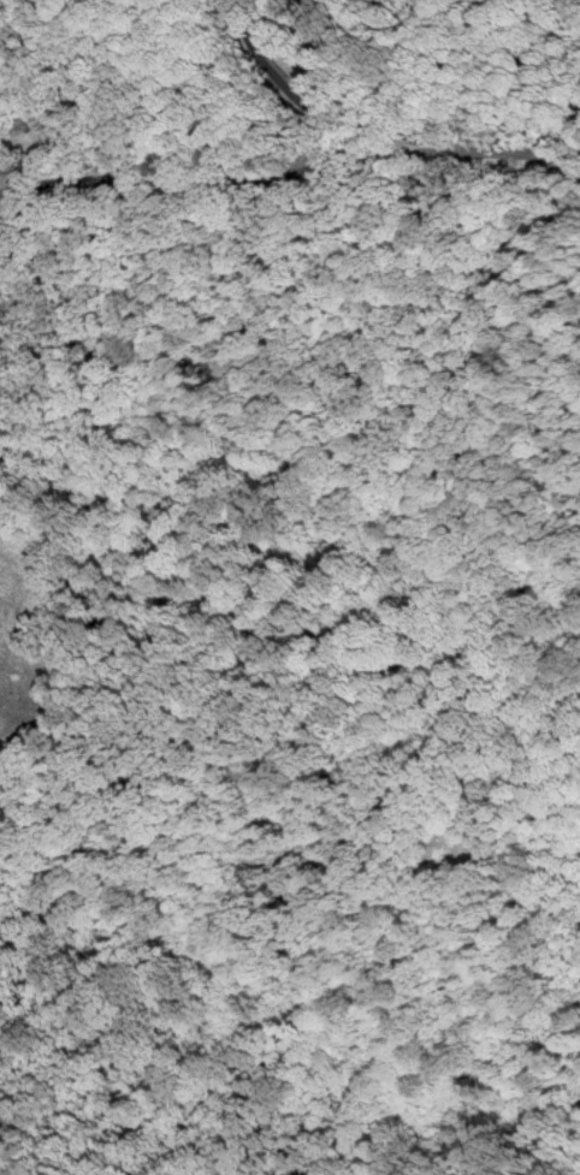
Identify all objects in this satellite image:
road: (243, 180)
road: (280, 350)

